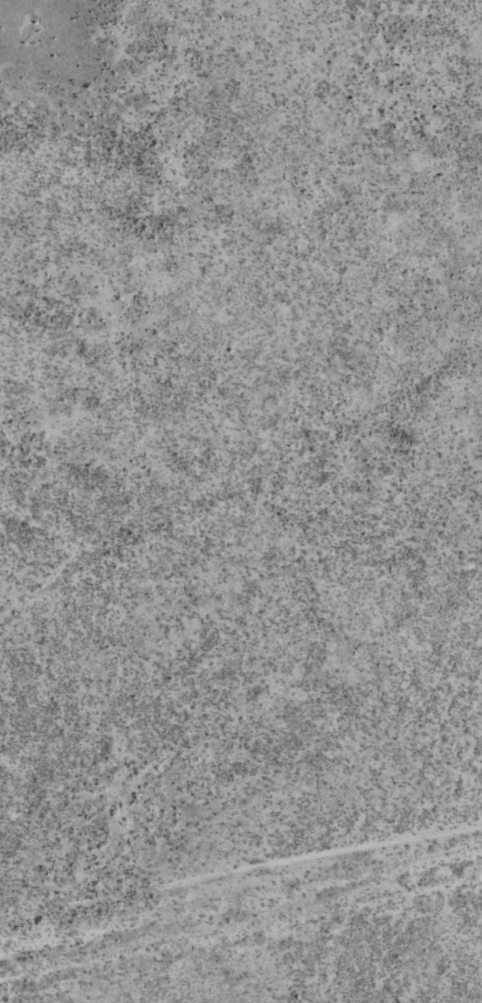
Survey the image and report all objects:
road: (241, 945)

